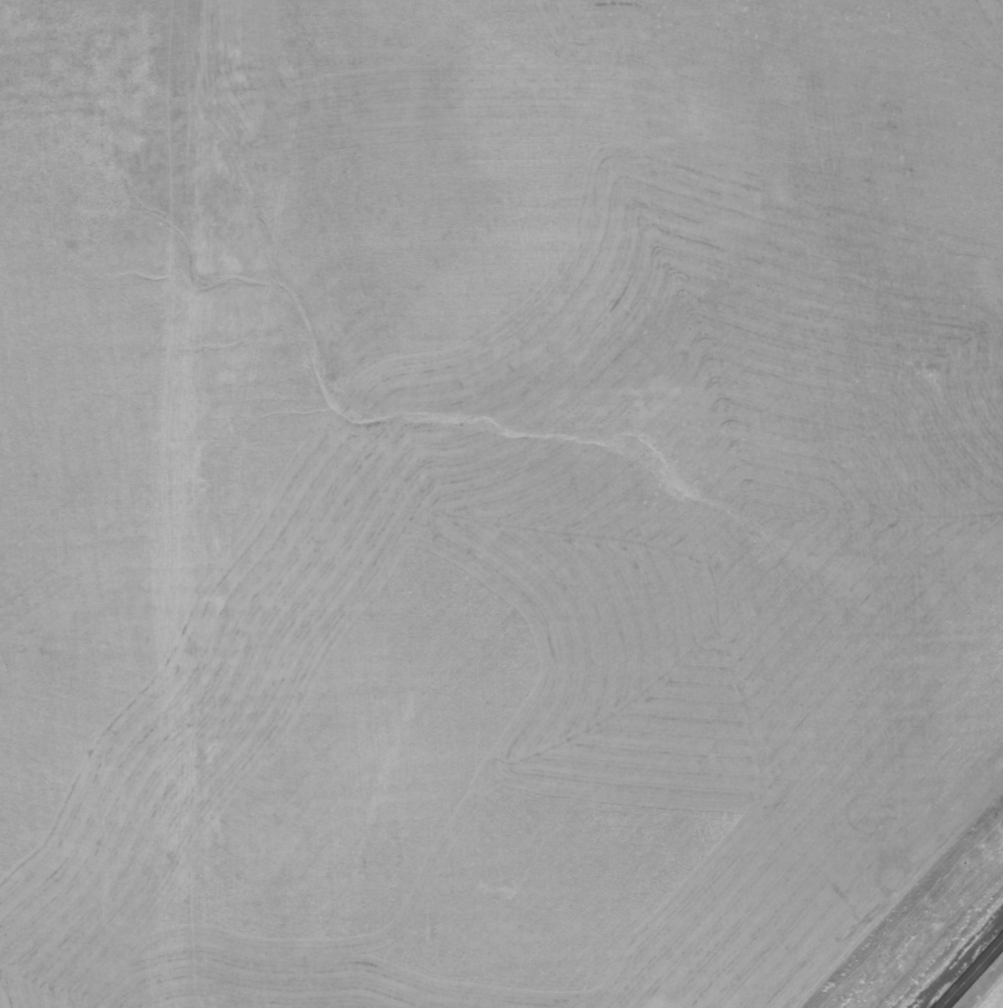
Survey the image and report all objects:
railway: (928, 927)
road: (973, 976)

